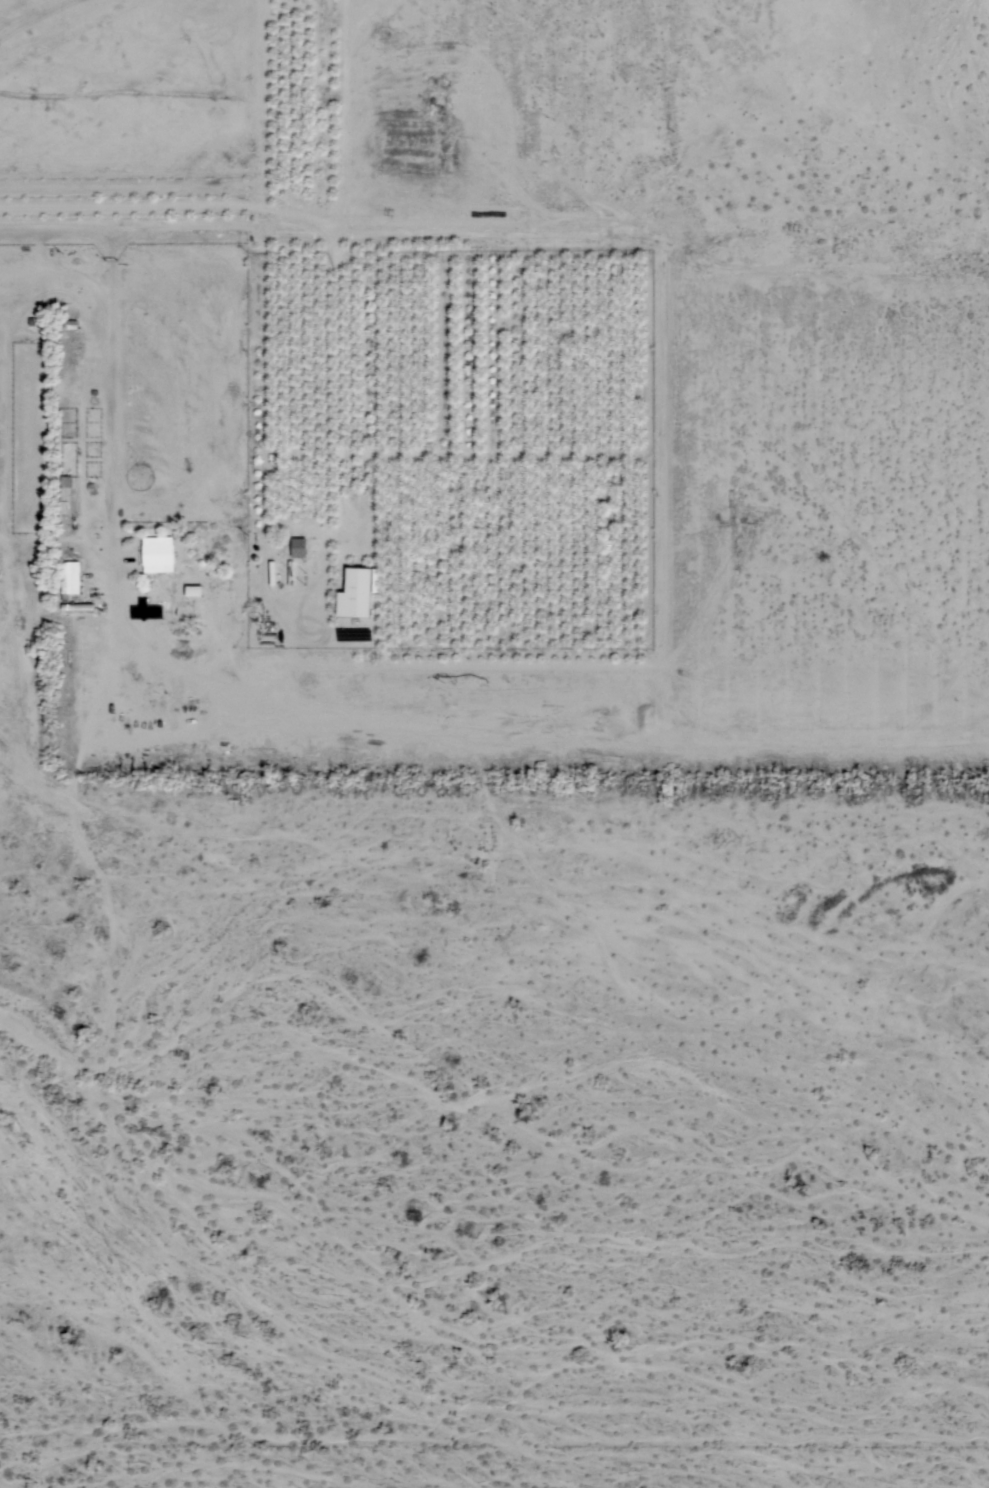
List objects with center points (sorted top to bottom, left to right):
building: (157, 554)
building: (70, 577)
building: (353, 592)

